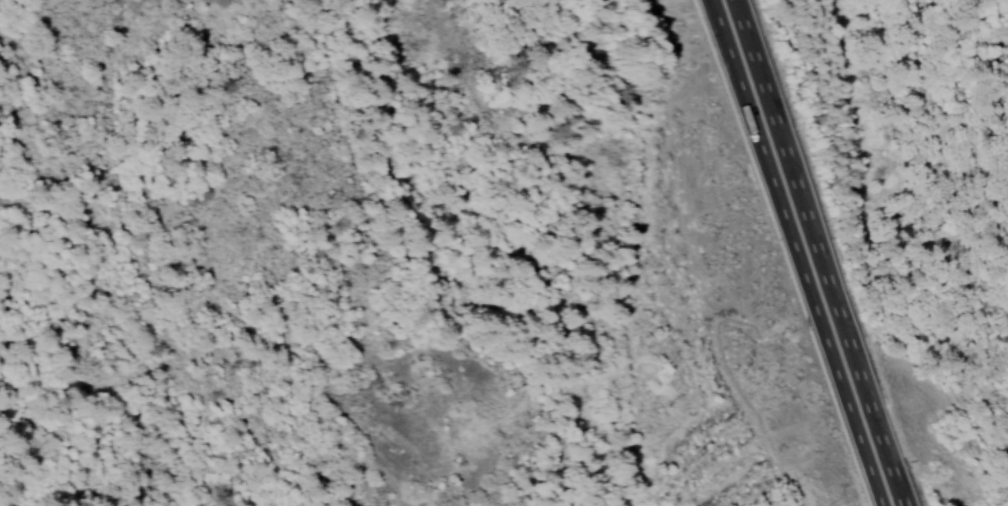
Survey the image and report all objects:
road: (811, 253)

